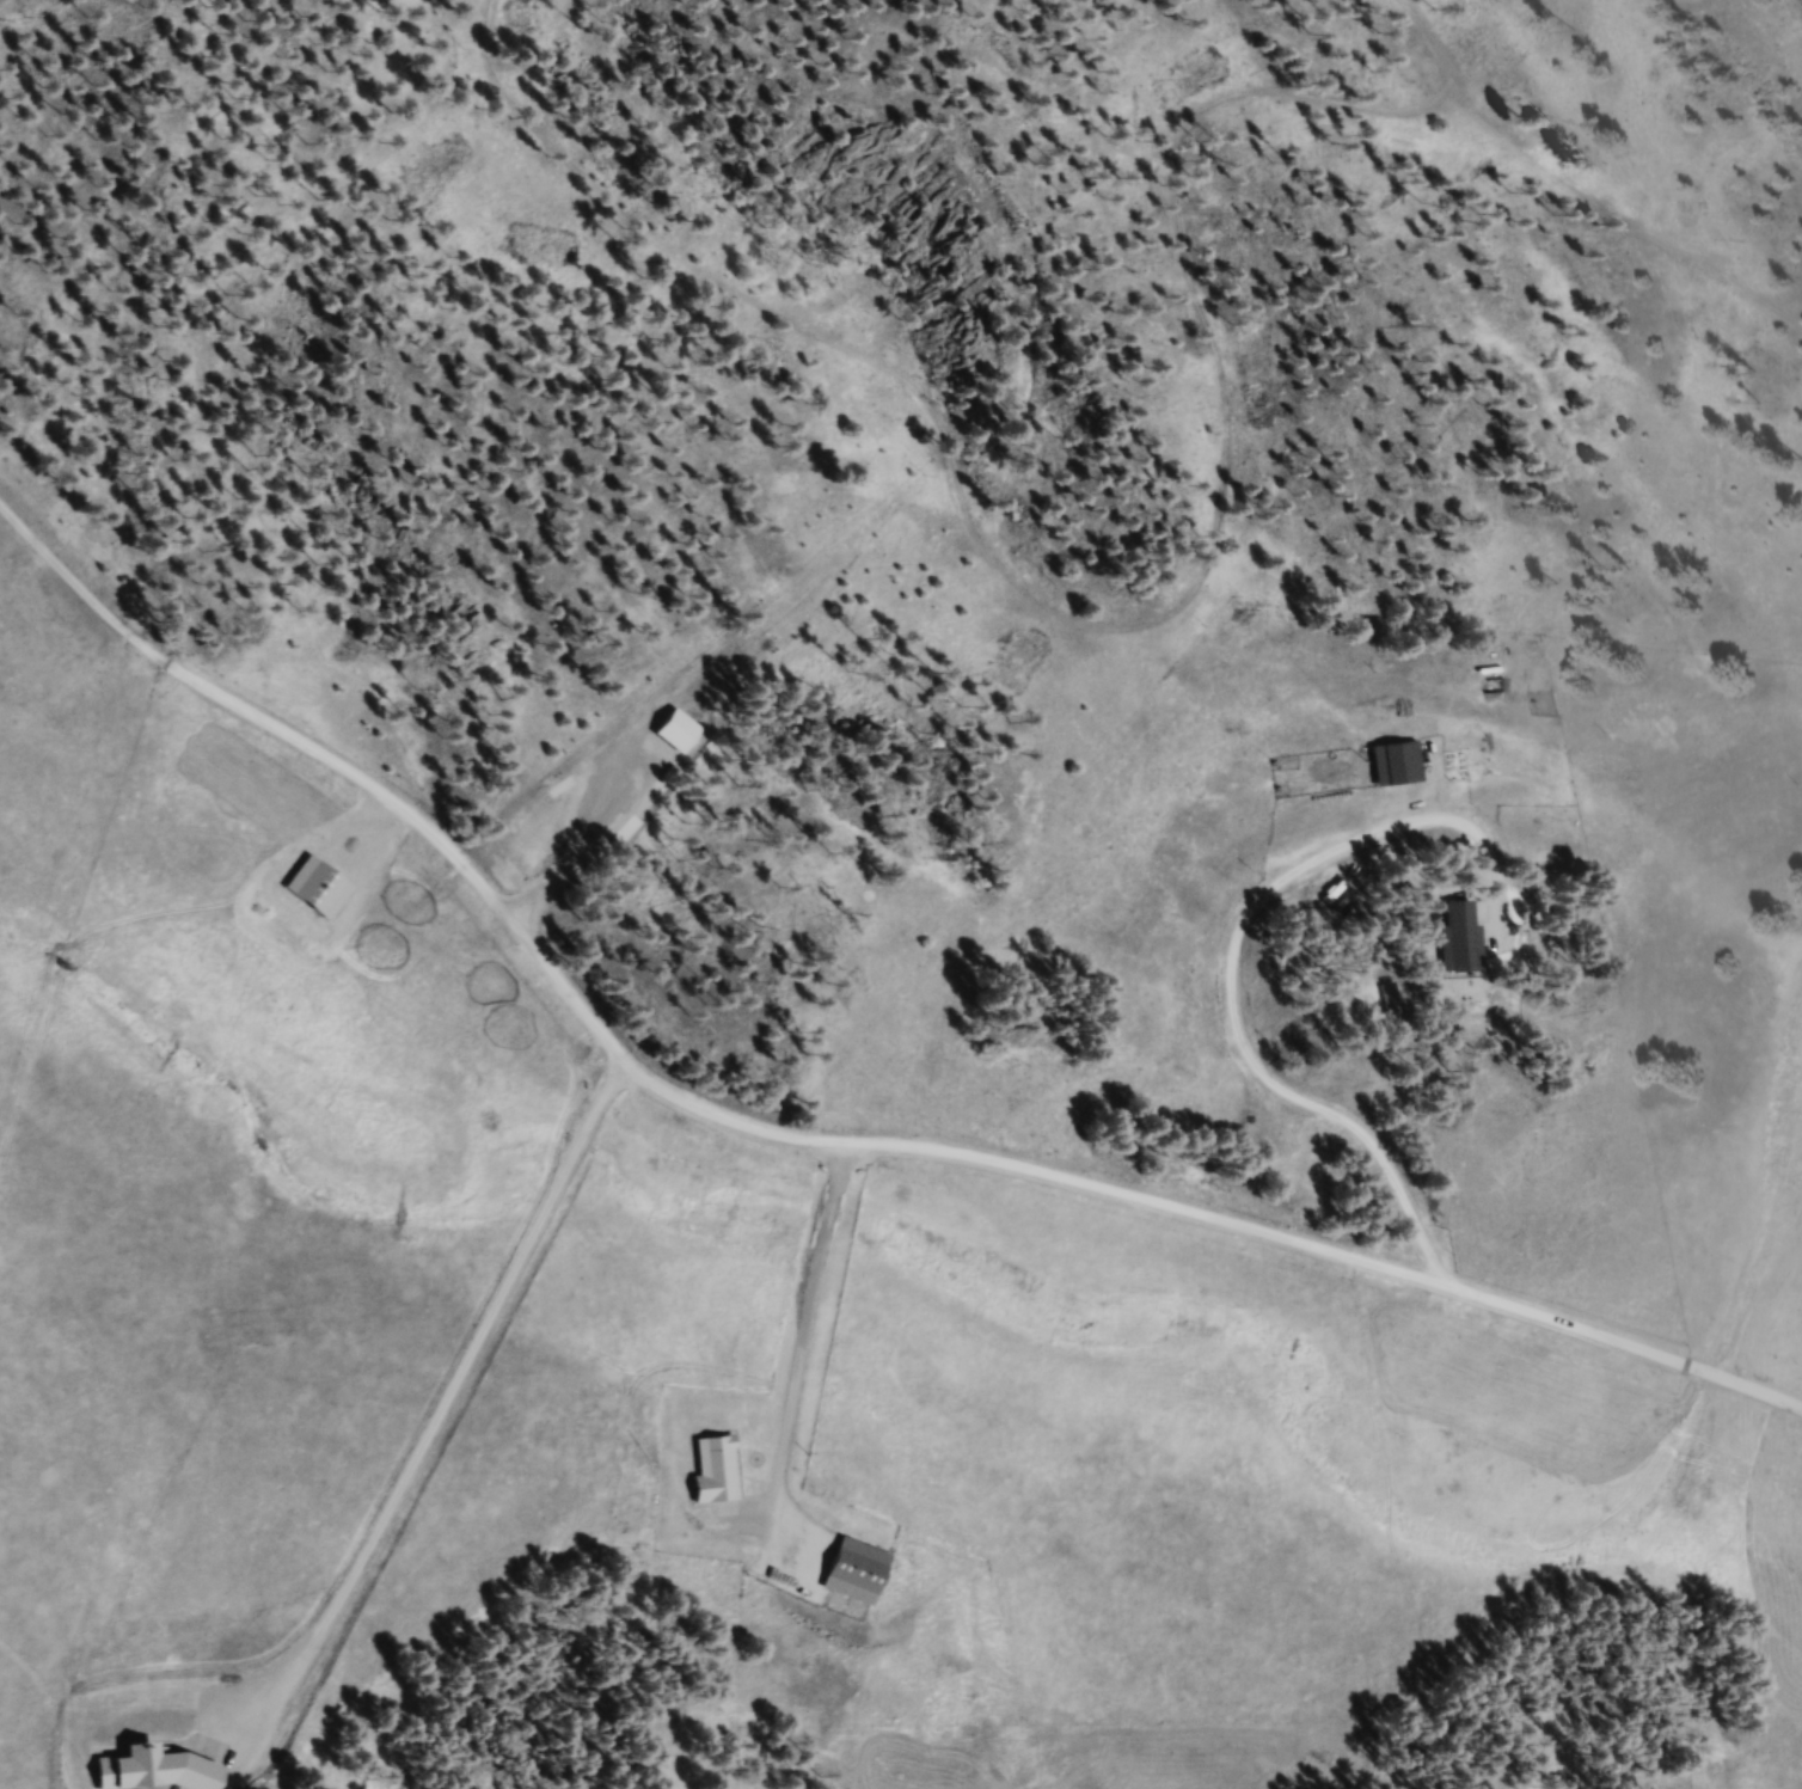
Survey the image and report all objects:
road: (1426, 33)
building: (1396, 767)
building: (317, 893)
building: (1455, 939)
road: (807, 1132)
building: (715, 1472)
building: (854, 1573)

